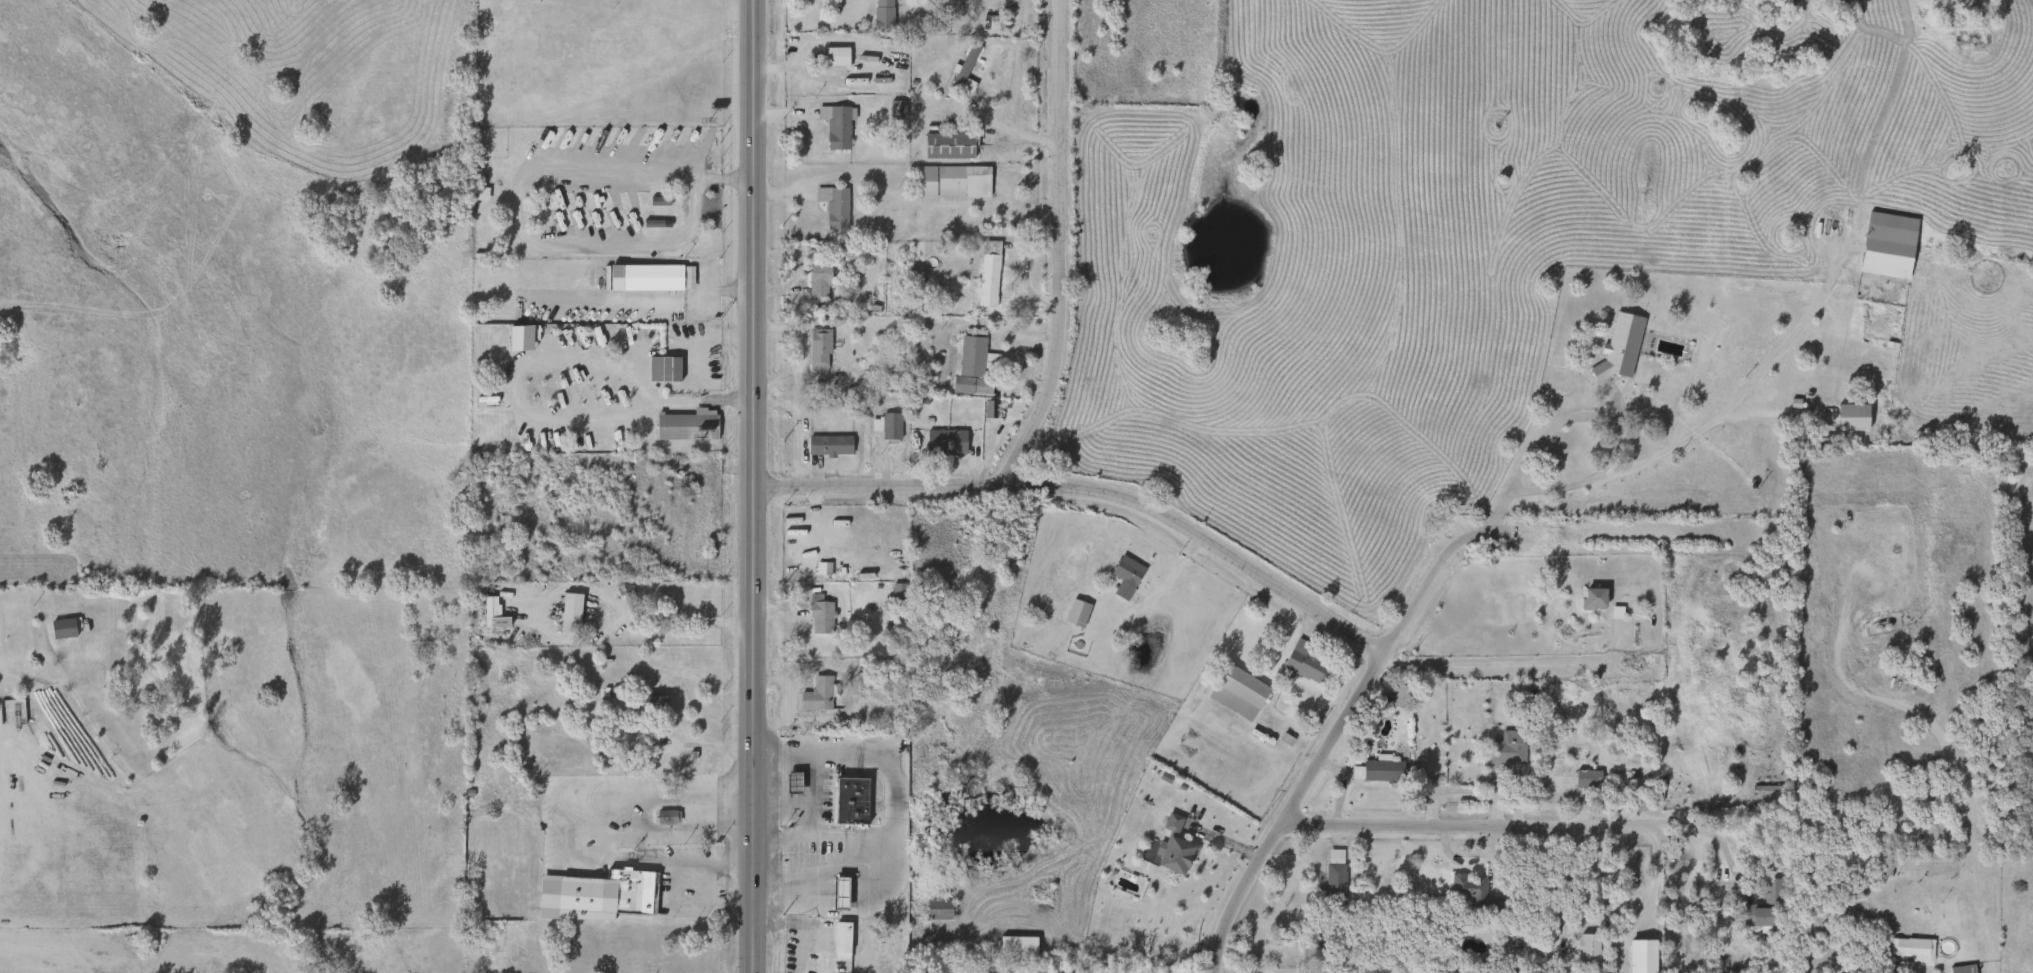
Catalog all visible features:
building: (881, 14)
building: (834, 57)
building: (963, 70)
building: (836, 128)
road: (1013, 132)
building: (950, 144)
building: (953, 181)
road: (514, 202)
building: (832, 206)
building: (655, 221)
building: (639, 235)
road: (1059, 252)
building: (1886, 252)
building: (986, 274)
building: (817, 279)
road: (684, 301)
building: (1618, 347)
building: (817, 350)
building: (966, 363)
building: (662, 369)
road: (735, 403)
road: (579, 415)
building: (888, 426)
building: (685, 428)
building: (943, 443)
building: (827, 445)
road: (752, 486)
road: (1090, 490)
road: (1461, 540)
building: (1124, 577)
road: (582, 590)
building: (896, 591)
building: (1592, 599)
building: (569, 613)
building: (1075, 613)
building: (491, 614)
building: (818, 615)
building: (61, 628)
building: (1304, 662)
road: (1512, 667)
building: (1237, 692)
building: (816, 695)
building: (1398, 695)
building: (652, 703)
road: (1942, 745)
building: (1505, 748)
building: (1566, 763)
building: (1375, 770)
building: (1586, 778)
building: (791, 782)
building: (827, 787)
road: (648, 793)
road: (891, 804)
building: (665, 817)
road: (596, 827)
road: (1486, 828)
building: (1173, 847)
road: (732, 859)
building: (1332, 876)
building: (1469, 890)
building: (626, 891)
building: (936, 909)
building: (1755, 915)
road: (800, 924)
road: (1136, 941)
building: (1587, 948)
building: (1909, 949)
building: (817, 952)
building: (1963, 968)

